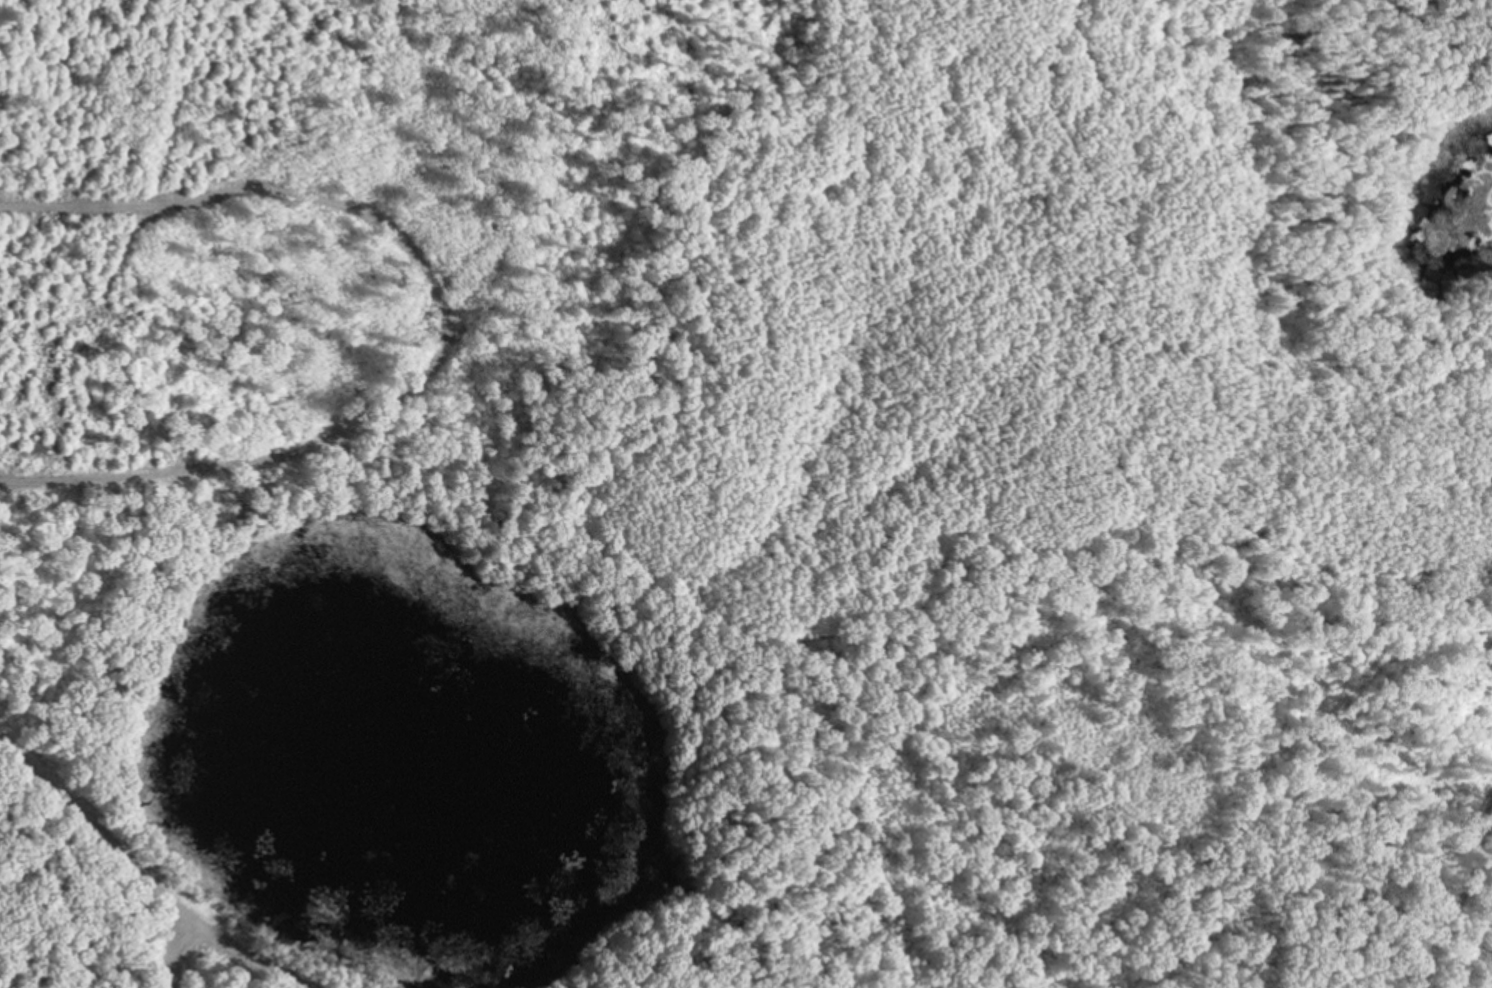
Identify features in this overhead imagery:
road: (431, 320)
road: (136, 872)
road: (175, 948)

